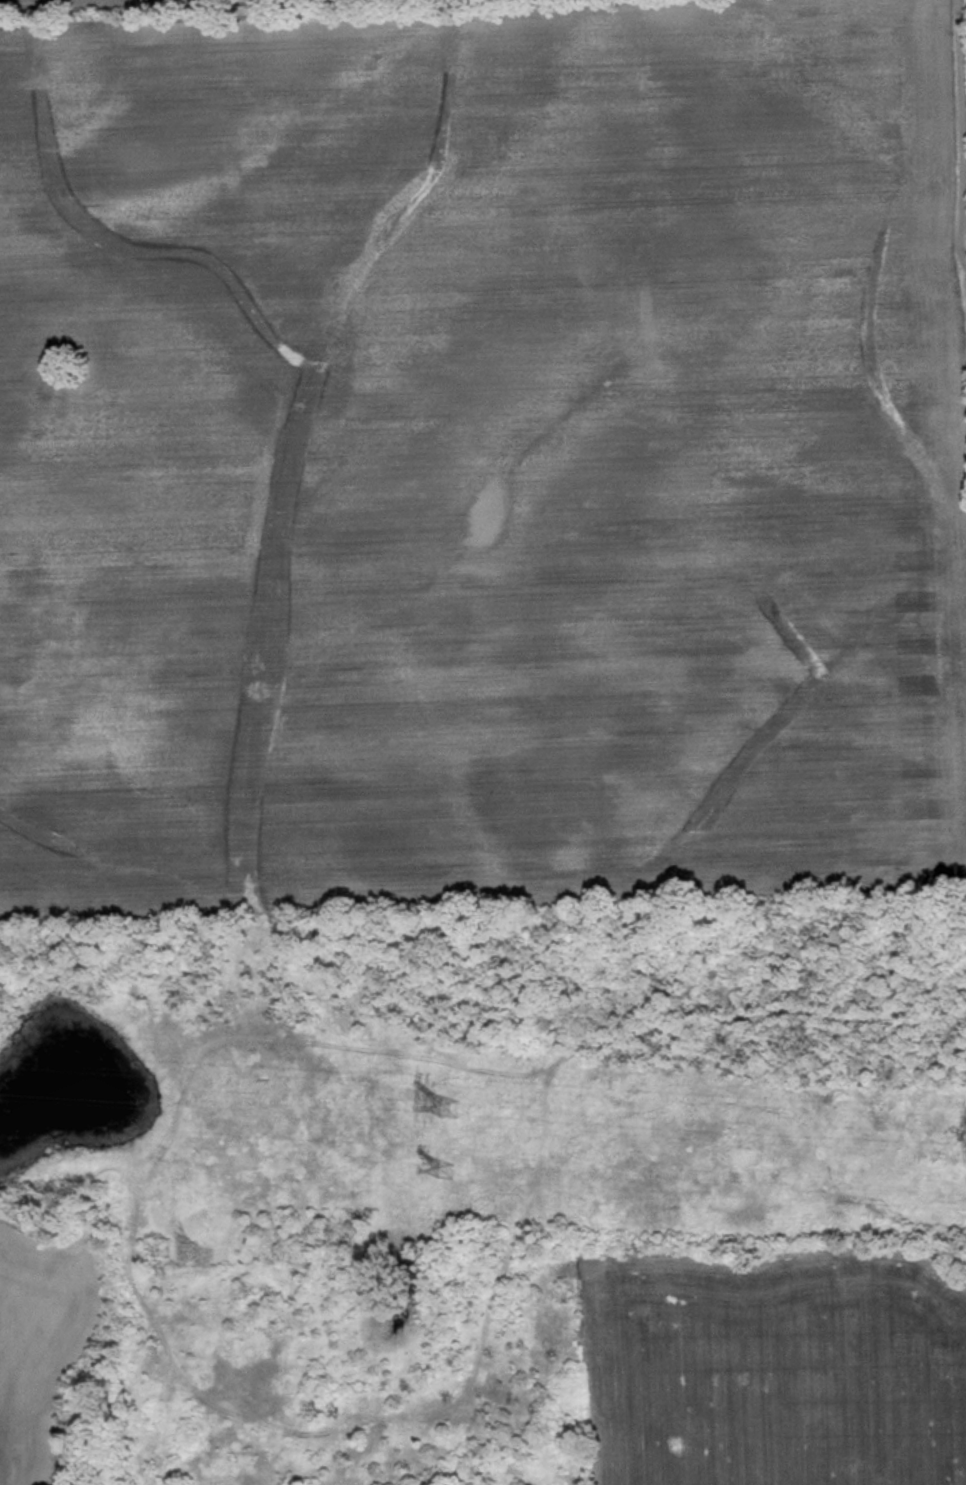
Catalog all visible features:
power tower: (449, 1106)
power tower: (444, 1169)

